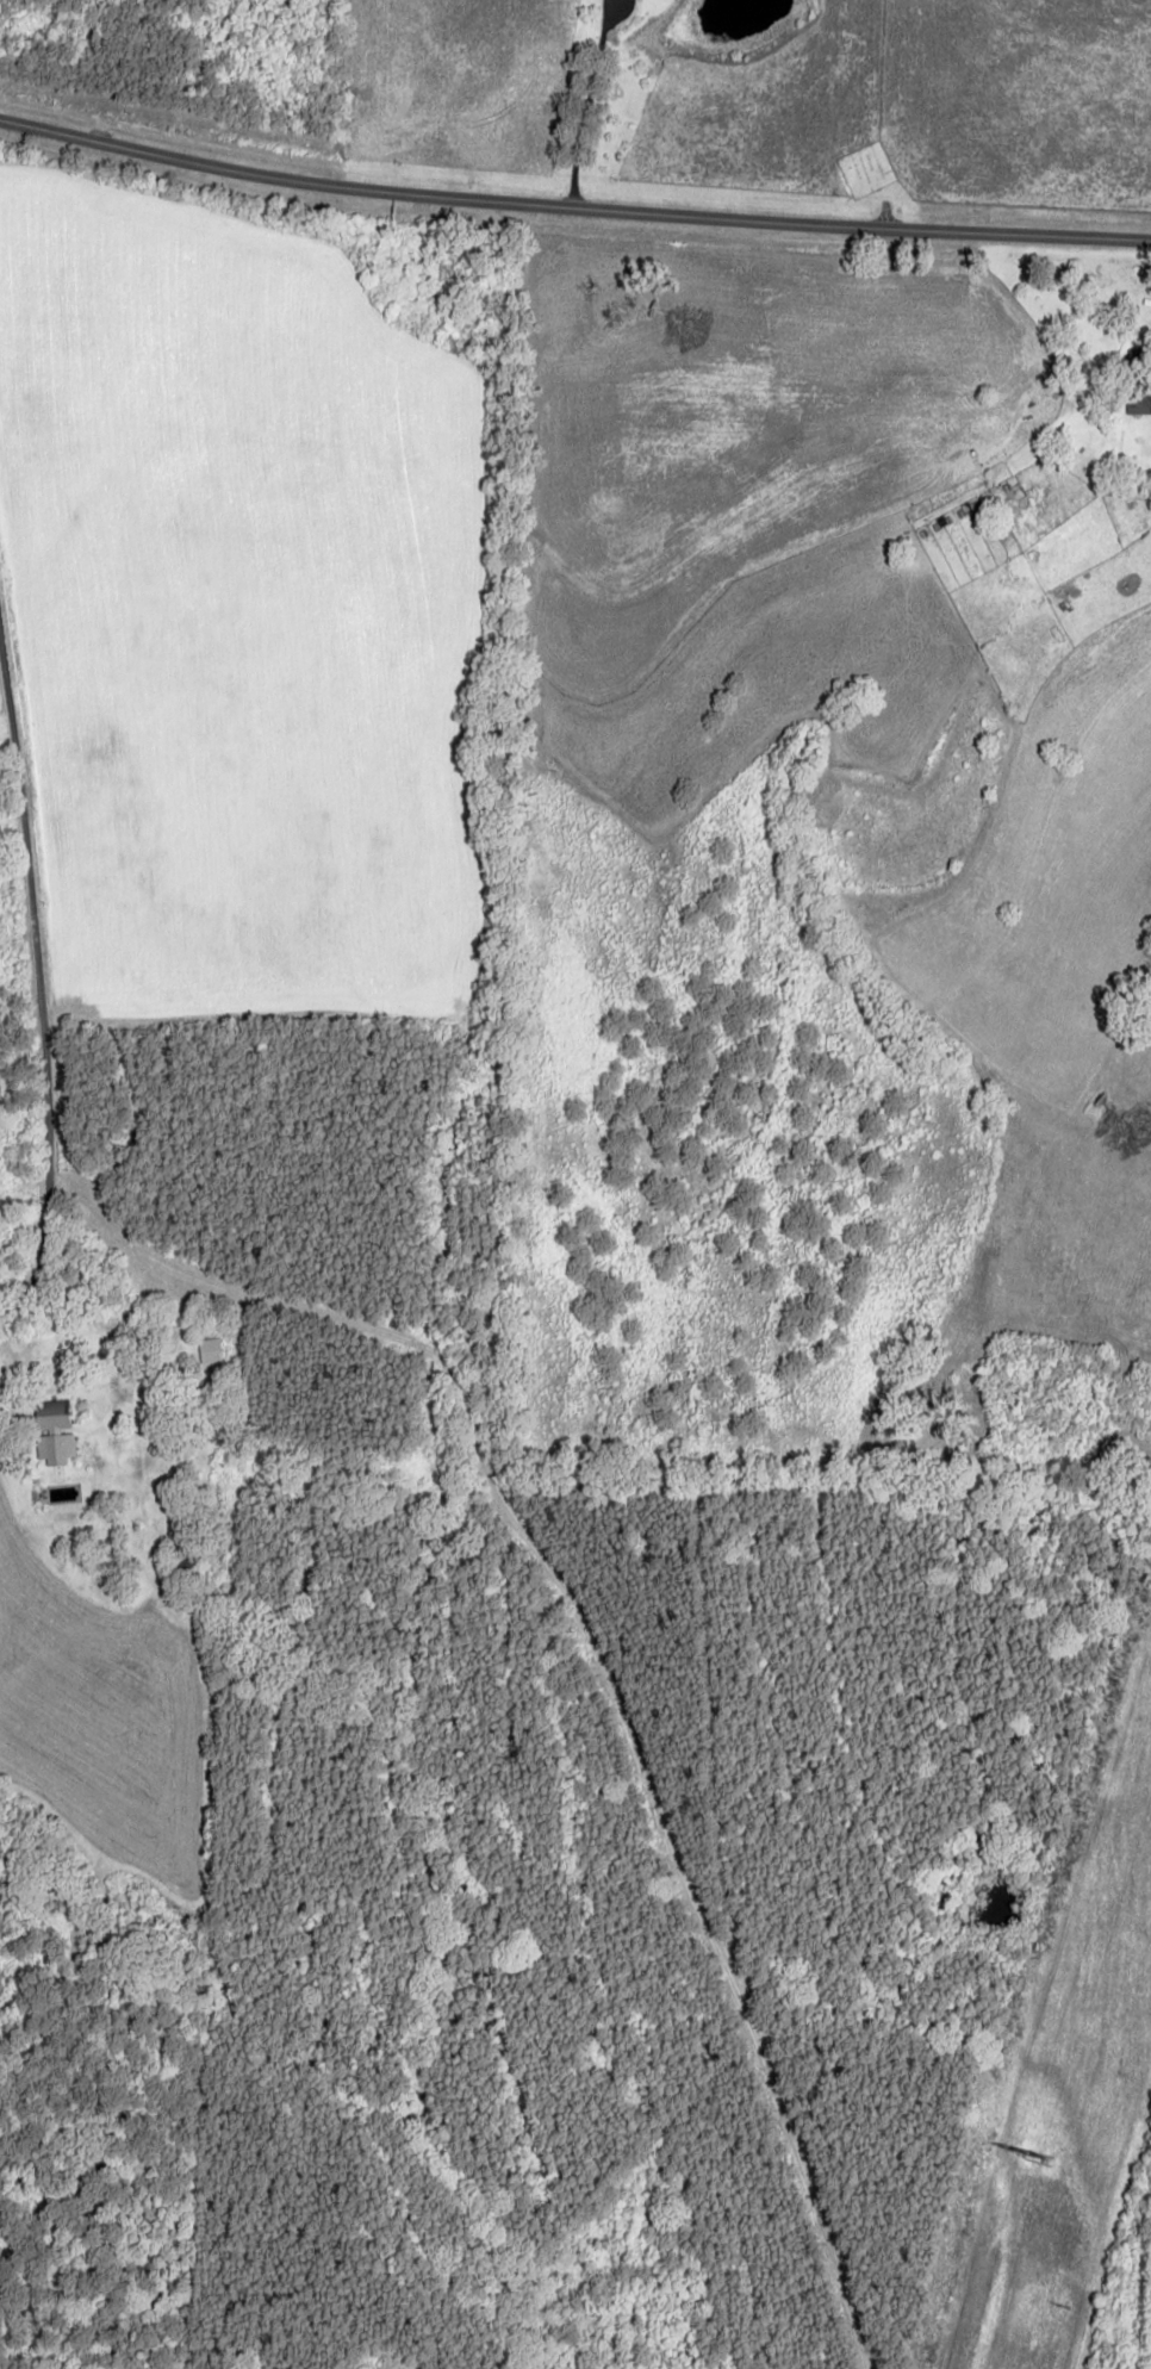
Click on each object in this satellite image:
road: (586, 101)
road: (572, 203)
road: (32, 1003)
building: (211, 1350)
building: (51, 1416)
building: (55, 1448)
power tower: (1019, 2157)

